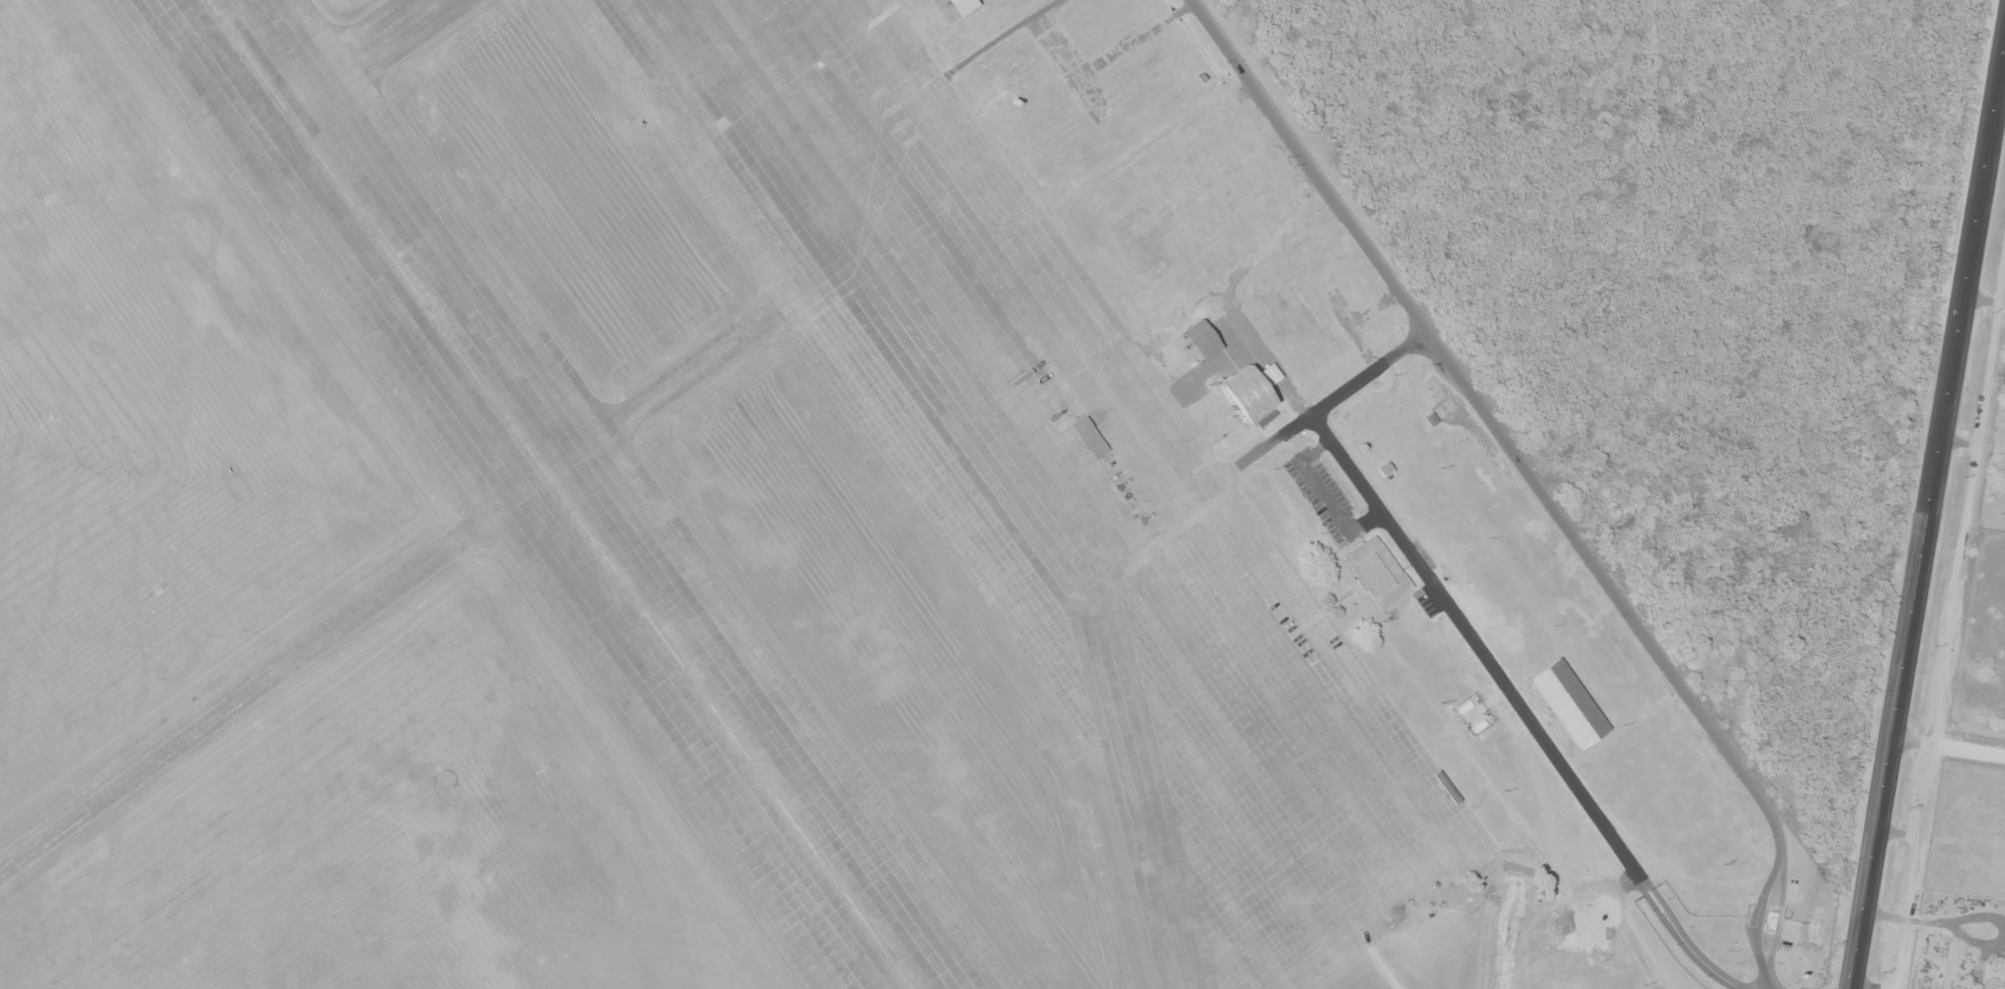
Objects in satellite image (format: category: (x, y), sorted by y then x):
building: (960, 6)
building: (641, 37)
airport taxiway: (365, 56)
building: (1021, 81)
road: (1071, 86)
road: (1204, 117)
road: (1310, 165)
road: (1854, 252)
road: (1242, 271)
building: (413, 296)
building: (1297, 324)
building: (1200, 339)
building: (1244, 393)
road: (1334, 403)
building: (1431, 419)
building: (1090, 438)
airport apron: (1049, 477)
airport runway: (558, 494)
road: (1928, 521)
building: (1795, 527)
airport: (792, 529)
building: (1378, 571)
airport taxiway: (388, 595)
road: (1650, 644)
building: (662, 655)
building: (1568, 704)
road: (1529, 725)
building: (1129, 819)
airport taxiway: (1192, 950)
building: (896, 969)
road: (1385, 986)

